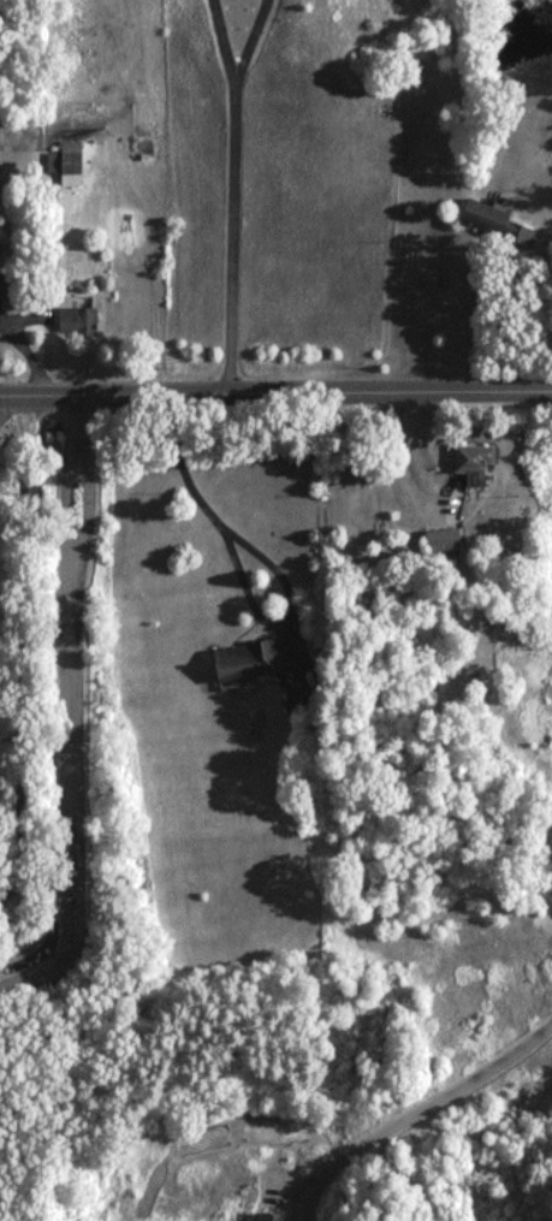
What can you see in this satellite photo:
road: (218, 41)
road: (244, 41)
building: (65, 165)
building: (492, 221)
road: (227, 241)
building: (8, 288)
building: (73, 321)
road: (515, 326)
road: (275, 398)
building: (470, 466)
building: (441, 543)
road: (237, 579)
building: (498, 623)
building: (244, 662)
road: (64, 711)
building: (51, 968)
road: (432, 1121)
building: (268, 1216)

